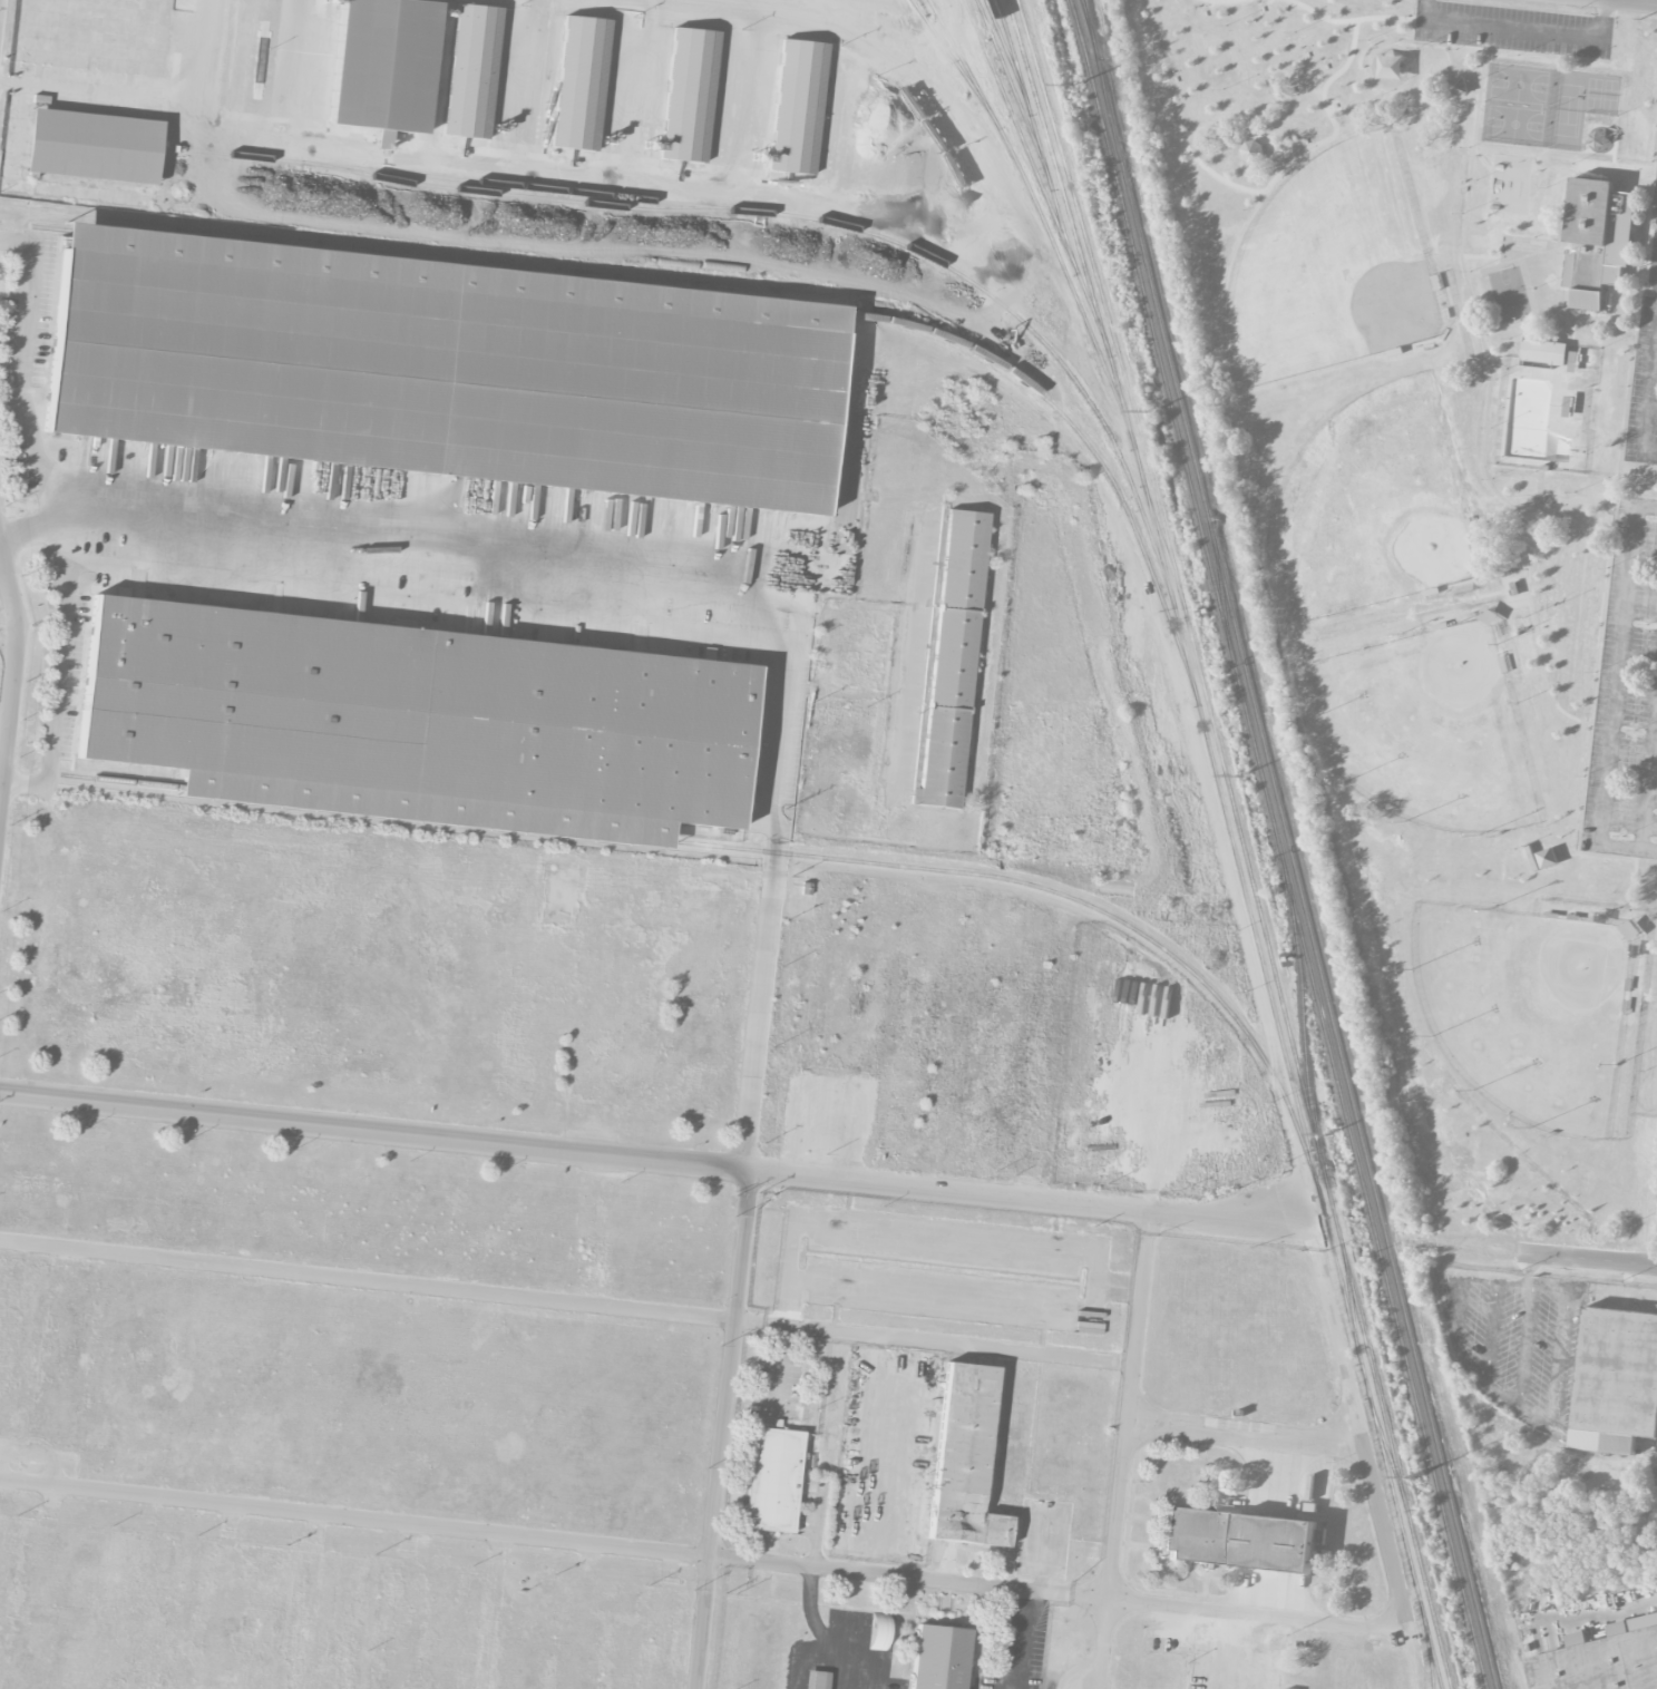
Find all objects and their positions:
road: (854, 1)
road: (1625, 2)
railway: (1089, 28)
railway: (1091, 28)
road: (1526, 29)
railway: (1006, 53)
building: (382, 64)
railway: (954, 65)
building: (470, 69)
building: (579, 80)
power tower: (1074, 87)
building: (1456, 88)
road: (94, 90)
railway: (1013, 92)
building: (689, 94)
building: (798, 106)
railway: (1033, 127)
building: (381, 138)
building: (92, 145)
building: (1251, 150)
road: (497, 168)
railway: (1036, 175)
railway: (526, 195)
railway: (698, 204)
railway: (1039, 212)
railway: (1078, 215)
building: (1602, 222)
railway: (720, 300)
building: (1588, 300)
building: (1543, 352)
road: (18, 372)
building: (441, 380)
road: (1649, 404)
power tower: (1149, 413)
road: (850, 476)
road: (1575, 506)
park: (1387, 521)
road: (415, 531)
park: (1452, 541)
road: (8, 586)
road: (8, 623)
building: (952, 657)
road: (59, 672)
park: (1434, 702)
road: (1616, 702)
road: (8, 710)
building: (417, 710)
power tower: (1239, 781)
railway: (1225, 811)
railway: (1279, 843)
railway: (763, 850)
railway: (1296, 872)
road: (778, 873)
road: (1249, 950)
park: (1503, 1033)
railway: (1295, 1058)
power tower: (1329, 1136)
road: (657, 1162)
road: (745, 1246)
road: (1526, 1248)
road: (369, 1279)
railway: (1352, 1302)
road: (937, 1341)
building: (1616, 1379)
road: (1248, 1436)
building: (964, 1457)
railway: (1390, 1458)
road: (1125, 1464)
road: (1374, 1473)
building: (773, 1478)
power tower: (1412, 1478)
road: (717, 1504)
building: (1238, 1539)
road: (706, 1554)
road: (494, 1611)
building: (878, 1630)
road: (828, 1637)
road: (1014, 1639)
road: (807, 1652)
building: (938, 1656)
railway: (1430, 1658)
railway: (1434, 1658)
building: (1599, 1664)
building: (813, 1679)

